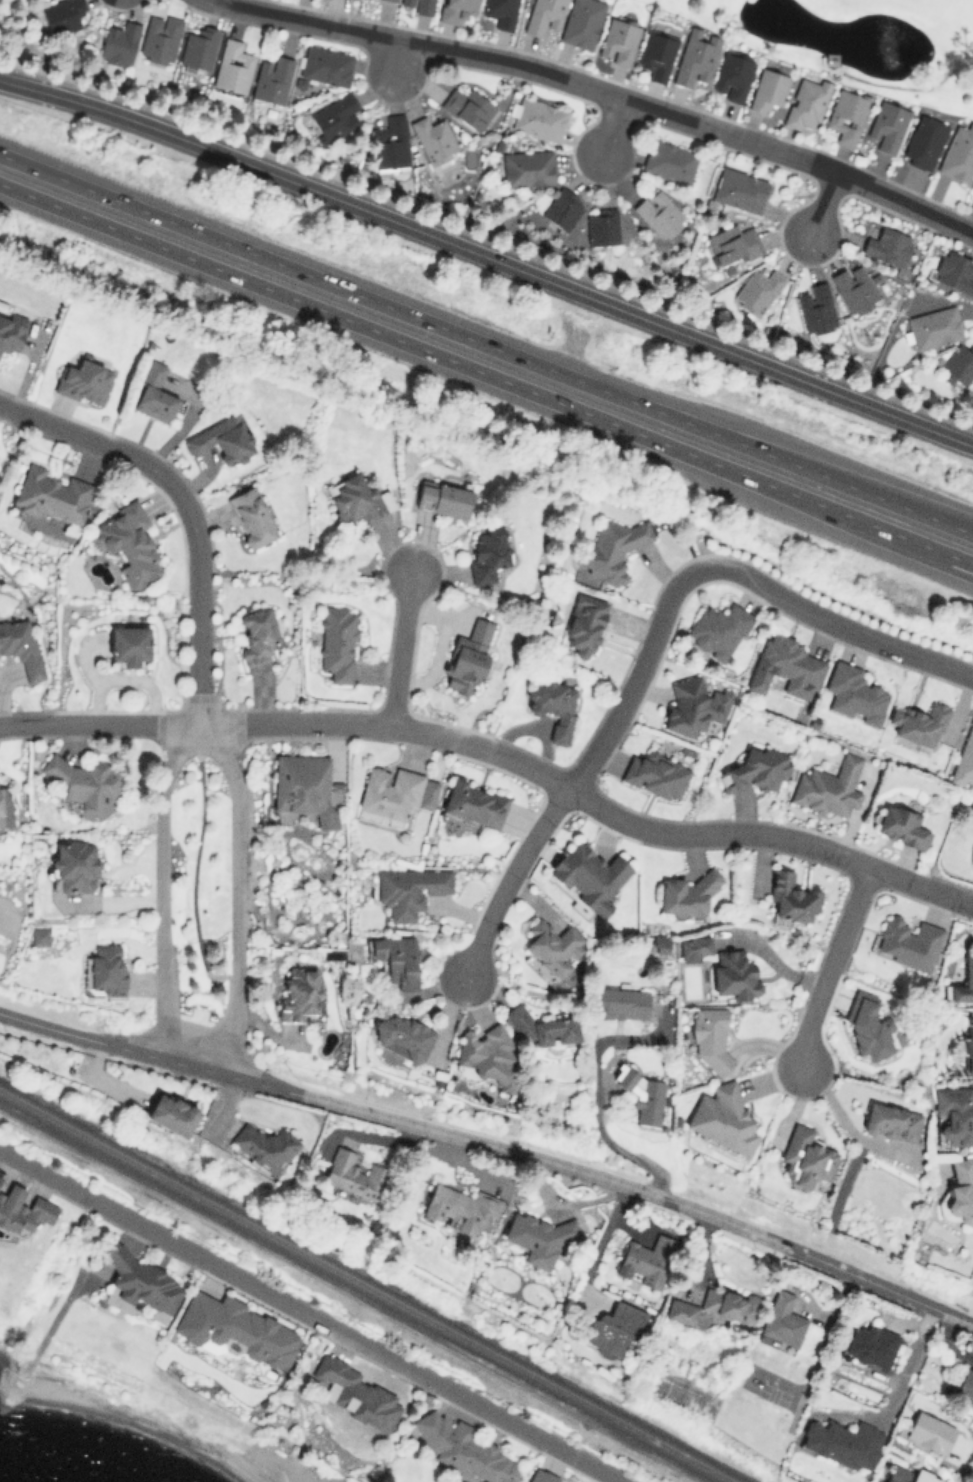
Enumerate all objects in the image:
building: (392, 0)
building: (417, 5)
building: (456, 10)
building: (501, 12)
building: (62, 14)
building: (544, 16)
road: (307, 20)
building: (582, 22)
building: (160, 38)
building: (618, 41)
park: (858, 41)
building: (119, 43)
building: (198, 47)
road: (447, 48)
building: (657, 53)
road: (397, 55)
building: (830, 58)
building: (695, 60)
building: (326, 65)
building: (233, 66)
building: (732, 76)
building: (272, 79)
building: (768, 89)
building: (806, 102)
building: (468, 107)
building: (847, 115)
building: (335, 117)
building: (538, 118)
road: (610, 125)
building: (887, 125)
road: (736, 135)
building: (434, 138)
building: (390, 142)
building: (923, 142)
building: (958, 154)
building: (669, 161)
building: (527, 168)
building: (739, 189)
road: (825, 201)
building: (562, 207)
building: (659, 213)
building: (602, 226)
building: (733, 243)
building: (888, 246)
road: (488, 257)
road: (200, 265)
building: (954, 271)
building: (854, 288)
building: (758, 289)
building: (816, 308)
building: (934, 327)
building: (11, 331)
road: (486, 341)
building: (959, 364)
building: (84, 381)
building: (155, 394)
building: (221, 439)
road: (99, 440)
road: (676, 451)
building: (52, 494)
building: (444, 498)
building: (358, 499)
building: (251, 516)
building: (129, 544)
building: (611, 549)
building: (487, 553)
road: (962, 561)
road: (199, 609)
road: (837, 622)
building: (584, 624)
building: (718, 630)
building: (258, 634)
building: (129, 643)
building: (338, 643)
building: (22, 645)
road: (401, 652)
building: (468, 657)
building: (786, 666)
road: (639, 680)
building: (855, 693)
building: (553, 705)
building: (693, 705)
road: (99, 721)
building: (919, 723)
building: (965, 757)
building: (757, 769)
building: (657, 772)
building: (84, 781)
building: (336, 786)
building: (303, 787)
building: (829, 787)
building: (395, 793)
road: (588, 799)
building: (475, 803)
building: (5, 804)
building: (902, 826)
building: (971, 853)
road: (196, 863)
building: (76, 865)
building: (589, 876)
road: (507, 877)
road: (162, 883)
building: (409, 889)
road: (237, 893)
building: (686, 893)
building: (792, 896)
building: (39, 936)
building: (909, 942)
building: (553, 947)
building: (694, 947)
building: (397, 959)
road: (772, 960)
road: (832, 965)
building: (968, 967)
building: (105, 971)
building: (734, 974)
building: (299, 994)
building: (621, 1003)
building: (868, 1026)
building: (541, 1027)
building: (402, 1037)
building: (710, 1037)
building: (968, 1051)
building: (489, 1055)
road: (595, 1088)
building: (643, 1094)
building: (171, 1112)
building: (954, 1116)
building: (722, 1117)
building: (891, 1122)
road: (847, 1124)
road: (366, 1136)
building: (265, 1146)
road: (492, 1147)
building: (805, 1156)
building: (356, 1174)
building: (0, 1176)
building: (960, 1192)
building: (461, 1207)
building: (23, 1209)
building: (539, 1237)
road: (598, 1246)
building: (647, 1260)
building: (137, 1278)
railway: (368, 1285)
building: (729, 1303)
building: (681, 1310)
road: (312, 1314)
building: (783, 1319)
building: (616, 1326)
building: (237, 1329)
building: (871, 1346)
building: (965, 1384)
building: (357, 1394)
road: (894, 1396)
building: (929, 1433)
building: (844, 1442)
building: (462, 1448)
building: (910, 1475)
building: (542, 1477)
pier: (377, 1479)

